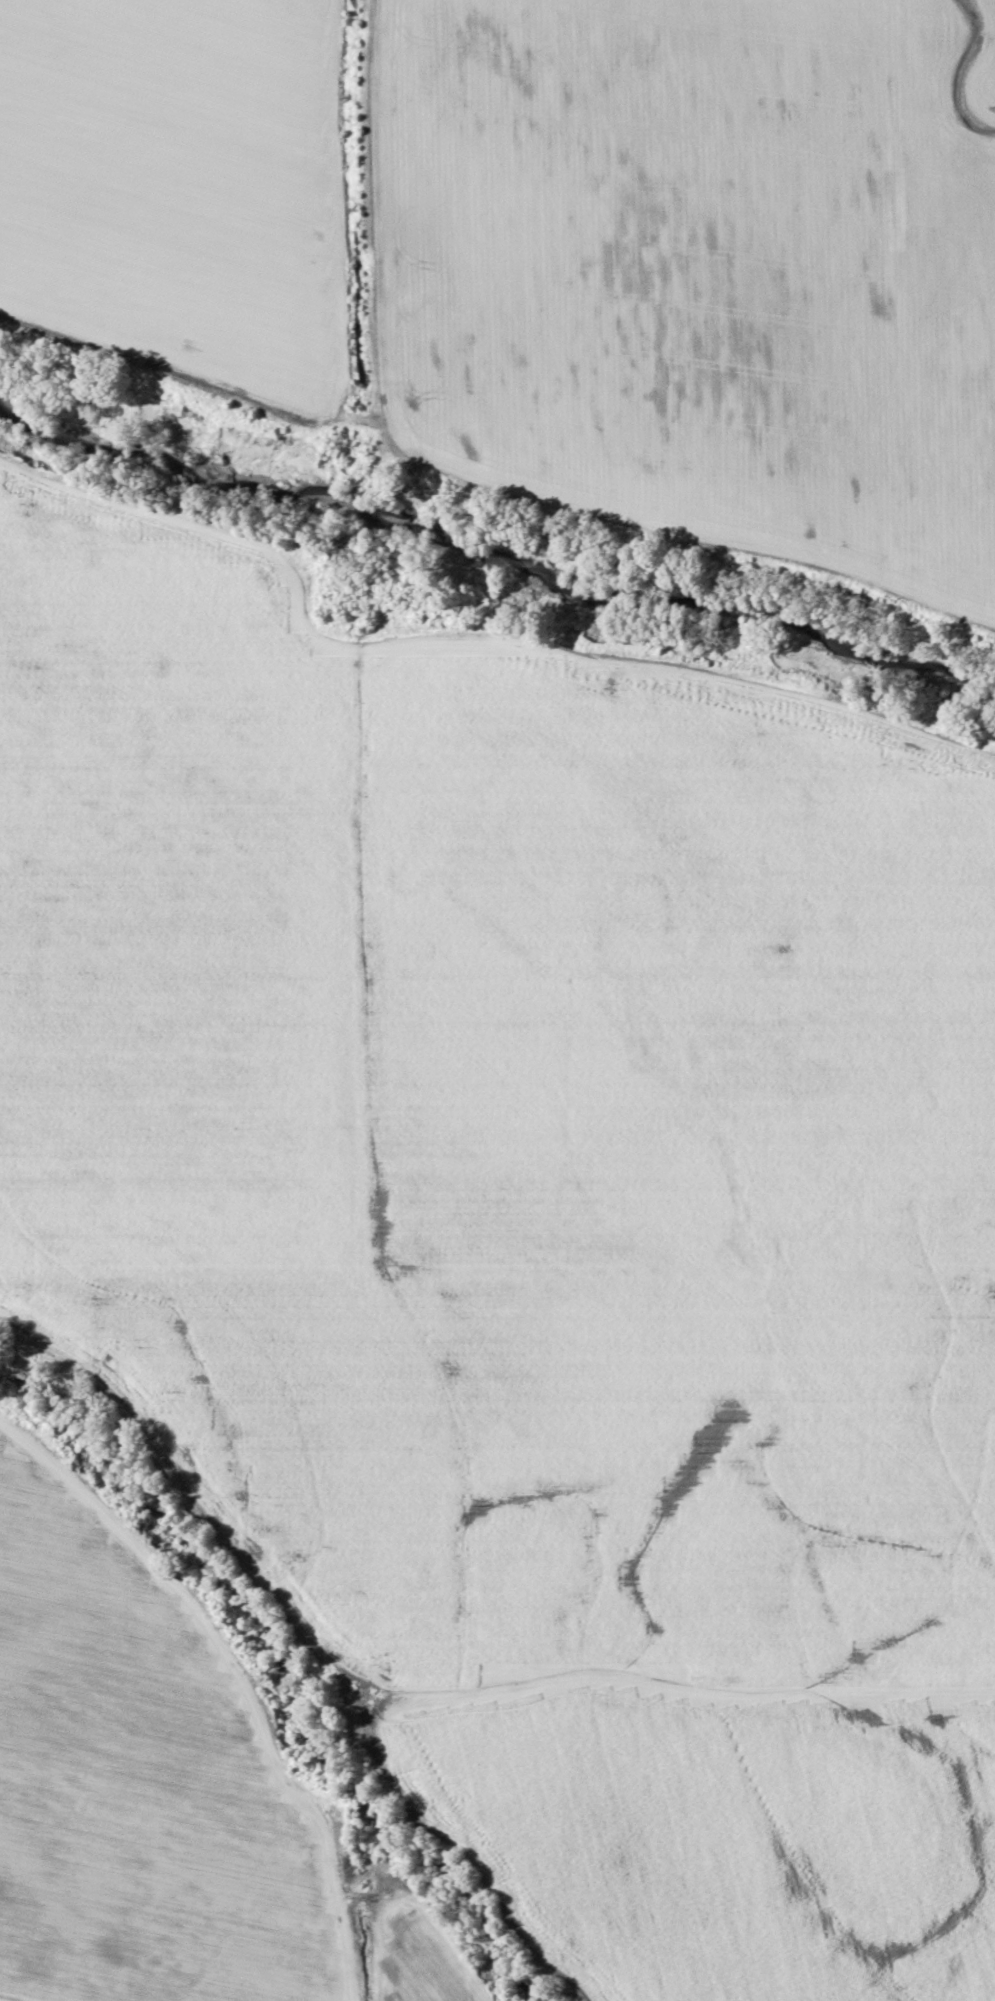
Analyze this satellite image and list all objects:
building: (775, 1842)

